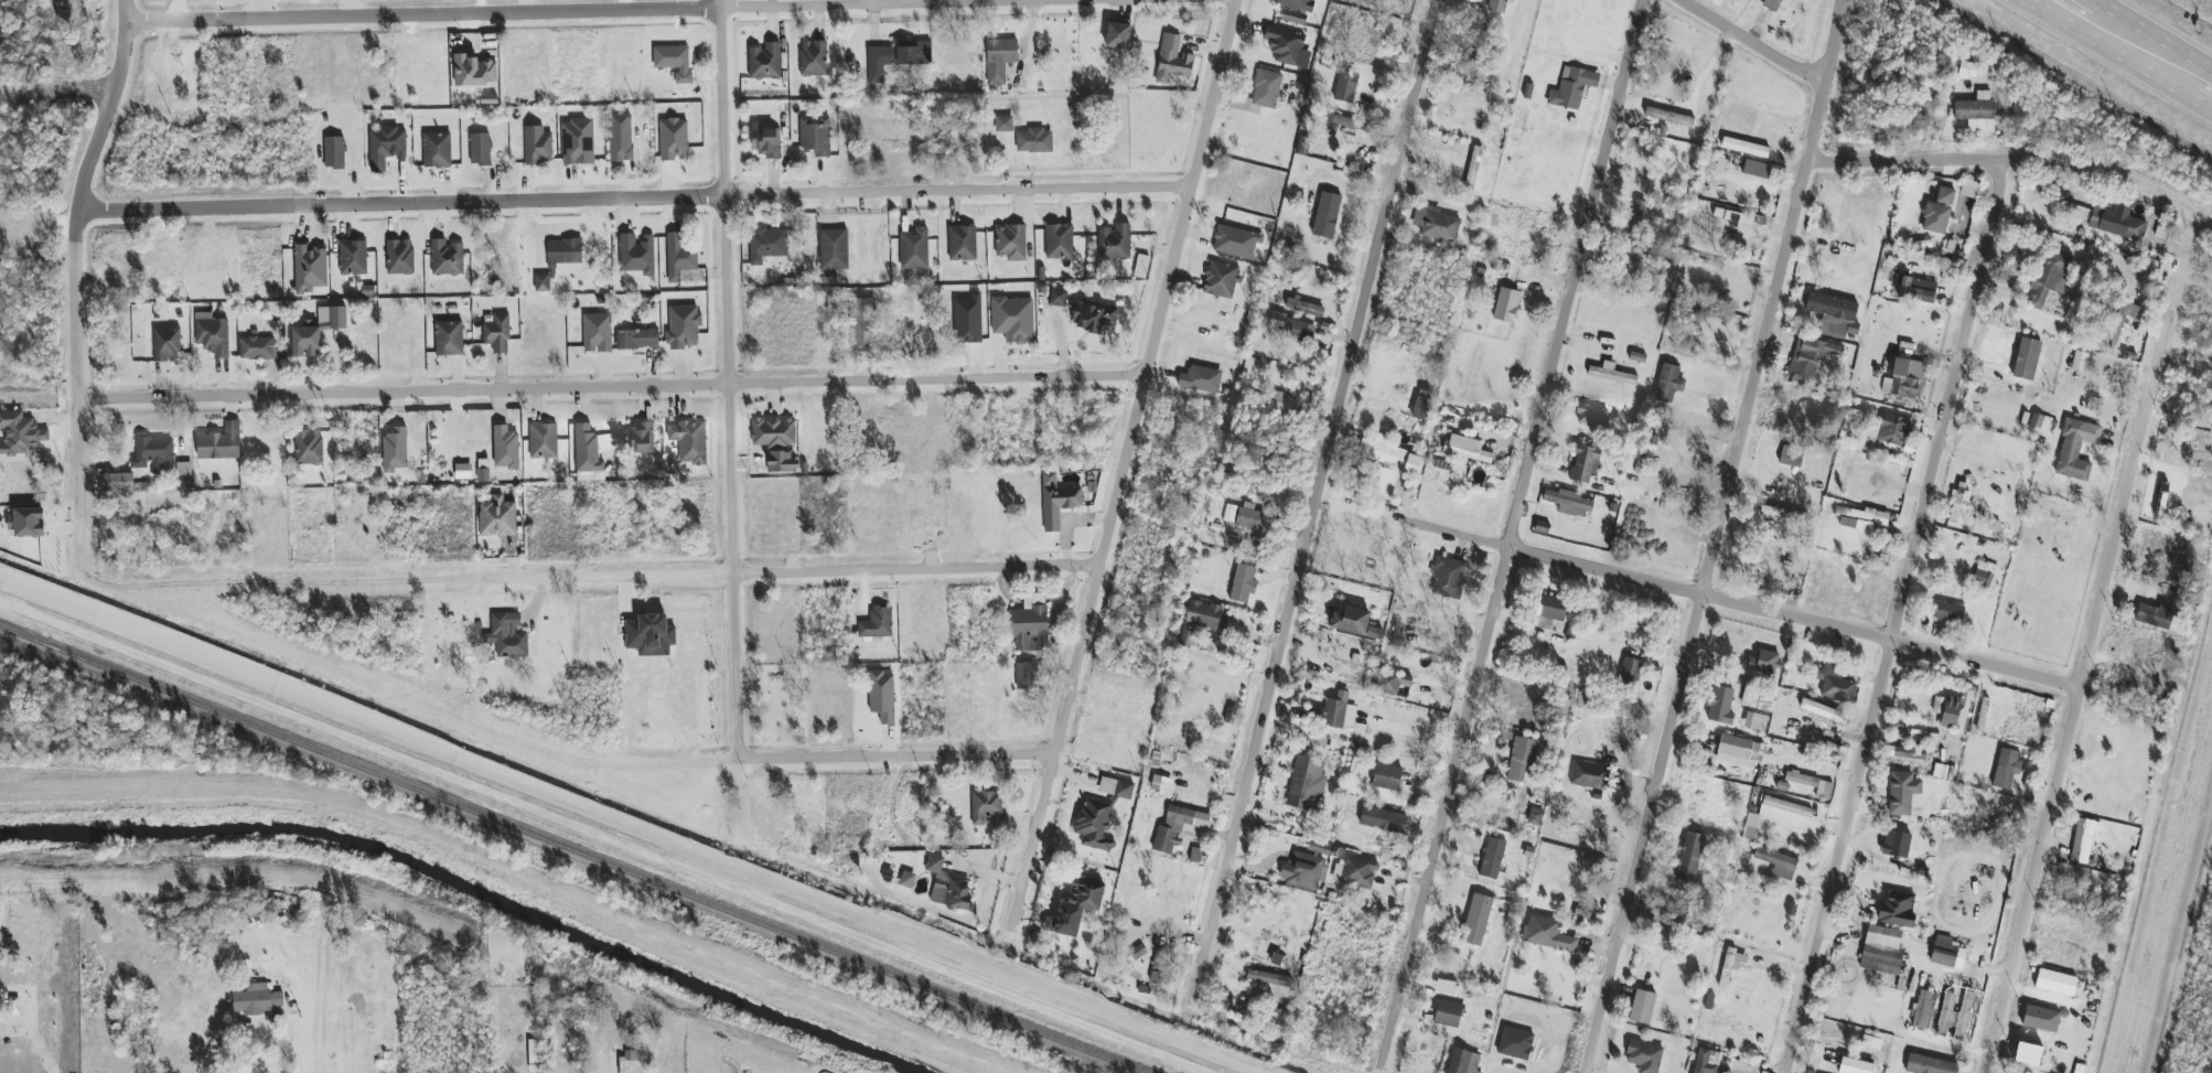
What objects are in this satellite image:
building: (1296, 4)
building: (1772, 4)
road: (2086, 4)
building: (1497, 6)
road: (487, 13)
building: (1117, 35)
road: (1759, 42)
road: (2152, 42)
building: (1287, 47)
road: (2112, 55)
building: (896, 57)
building: (813, 58)
building: (999, 60)
building: (1172, 60)
building: (674, 62)
building: (764, 62)
building: (1967, 71)
building: (1345, 87)
building: (1572, 87)
building: (1260, 93)
building: (1976, 112)
building: (1668, 117)
building: (1003, 124)
building: (816, 136)
building: (621, 138)
building: (674, 140)
building: (766, 141)
building: (1034, 141)
building: (578, 142)
building: (537, 146)
building: (386, 147)
building: (1744, 148)
building: (480, 149)
building: (437, 150)
building: (334, 152)
road: (1952, 155)
building: (1473, 168)
building: (1757, 169)
road: (1189, 186)
road: (645, 197)
building: (1639, 212)
building: (1939, 212)
building: (1327, 215)
building: (2117, 223)
building: (1436, 224)
building: (1059, 242)
building: (1011, 243)
building: (1114, 243)
building: (1236, 243)
building: (963, 244)
building: (766, 245)
road: (1376, 247)
building: (834, 249)
building: (914, 249)
building: (563, 254)
building: (636, 255)
road: (78, 256)
building: (679, 256)
building: (399, 257)
building: (353, 258)
building: (447, 258)
building: (309, 268)
building: (2052, 277)
building: (1221, 280)
building: (541, 283)
building: (1915, 289)
building: (367, 292)
building: (1057, 298)
building: (1506, 305)
building: (1303, 308)
building: (2126, 314)
building: (1094, 316)
building: (968, 320)
building: (1013, 320)
building: (861, 323)
building: (684, 326)
building: (1295, 328)
building: (316, 331)
building: (598, 333)
building: (497, 334)
building: (213, 336)
building: (449, 339)
road: (2161, 339)
building: (637, 340)
building: (167, 344)
building: (259, 348)
building: (1811, 356)
building: (2027, 360)
building: (2079, 362)
building: (1610, 374)
road: (734, 379)
building: (1201, 379)
building: (1903, 379)
building: (1668, 382)
road: (611, 383)
building: (1278, 404)
building: (1421, 408)
road: (1136, 414)
building: (1590, 416)
building: (2041, 422)
building: (1890, 430)
building: (773, 432)
building: (20, 433)
building: (642, 439)
building: (543, 441)
building: (689, 442)
building: (219, 443)
building: (309, 448)
building: (505, 448)
building: (395, 450)
building: (587, 450)
building: (2076, 450)
building: (1468, 452)
building: (1388, 453)
building: (153, 454)
building: (1791, 457)
building: (781, 462)
building: (1585, 463)
building: (463, 471)
building: (483, 471)
building: (183, 475)
building: (118, 482)
building: (1386, 483)
building: (1057, 502)
building: (1568, 503)
building: (1230, 513)
building: (1779, 513)
building: (497, 518)
building: (1249, 519)
building: (1856, 519)
building: (26, 522)
road: (1511, 535)
road: (1718, 536)
road: (804, 568)
building: (1984, 575)
building: (1448, 578)
building: (1243, 584)
road: (1739, 601)
building: (1551, 610)
building: (1948, 612)
building: (1205, 615)
building: (2154, 615)
road: (1899, 619)
building: (1351, 621)
building: (877, 623)
building: (1030, 625)
building: (651, 635)
building: (1188, 635)
building: (508, 636)
building: (1630, 670)
building: (1027, 676)
road: (1073, 678)
building: (1389, 683)
building: (1835, 684)
building: (882, 696)
building: (1720, 706)
building: (1817, 709)
building: (1953, 711)
building: (1339, 712)
building: (1317, 715)
road: (2071, 718)
building: (1755, 722)
road: (1253, 749)
building: (1739, 752)
road: (900, 757)
building: (1521, 757)
building: (2006, 770)
building: (1589, 775)
building: (1387, 777)
building: (1307, 784)
building: (1812, 784)
building: (1161, 785)
building: (1902, 793)
building: (986, 809)
building: (1100, 815)
building: (1535, 815)
building: (1784, 815)
building: (1383, 820)
building: (1178, 827)
railway: (612, 833)
building: (2083, 839)
railway: (590, 841)
building: (1896, 845)
railway: (573, 849)
building: (1195, 855)
building: (1689, 857)
building: (1492, 858)
building: (1778, 863)
building: (1304, 869)
building: (1359, 872)
building: (906, 880)
building: (947, 886)
building: (1078, 905)
building: (1898, 910)
building: (1477, 921)
building: (1547, 934)
building: (1881, 951)
building: (1138, 953)
building: (1947, 956)
building: (1730, 965)
building: (1161, 967)
building: (2055, 983)
building: (1274, 992)
building: (256, 1000)
building: (1642, 1007)
building: (1923, 1010)
building: (1448, 1013)
building: (1946, 1016)
building: (2041, 1019)
building: (1515, 1043)
road: (279, 1051)
building: (2028, 1054)
building: (534, 1056)
building: (1644, 1056)
building: (1463, 1062)
building: (1929, 1065)
building: (1855, 1066)

